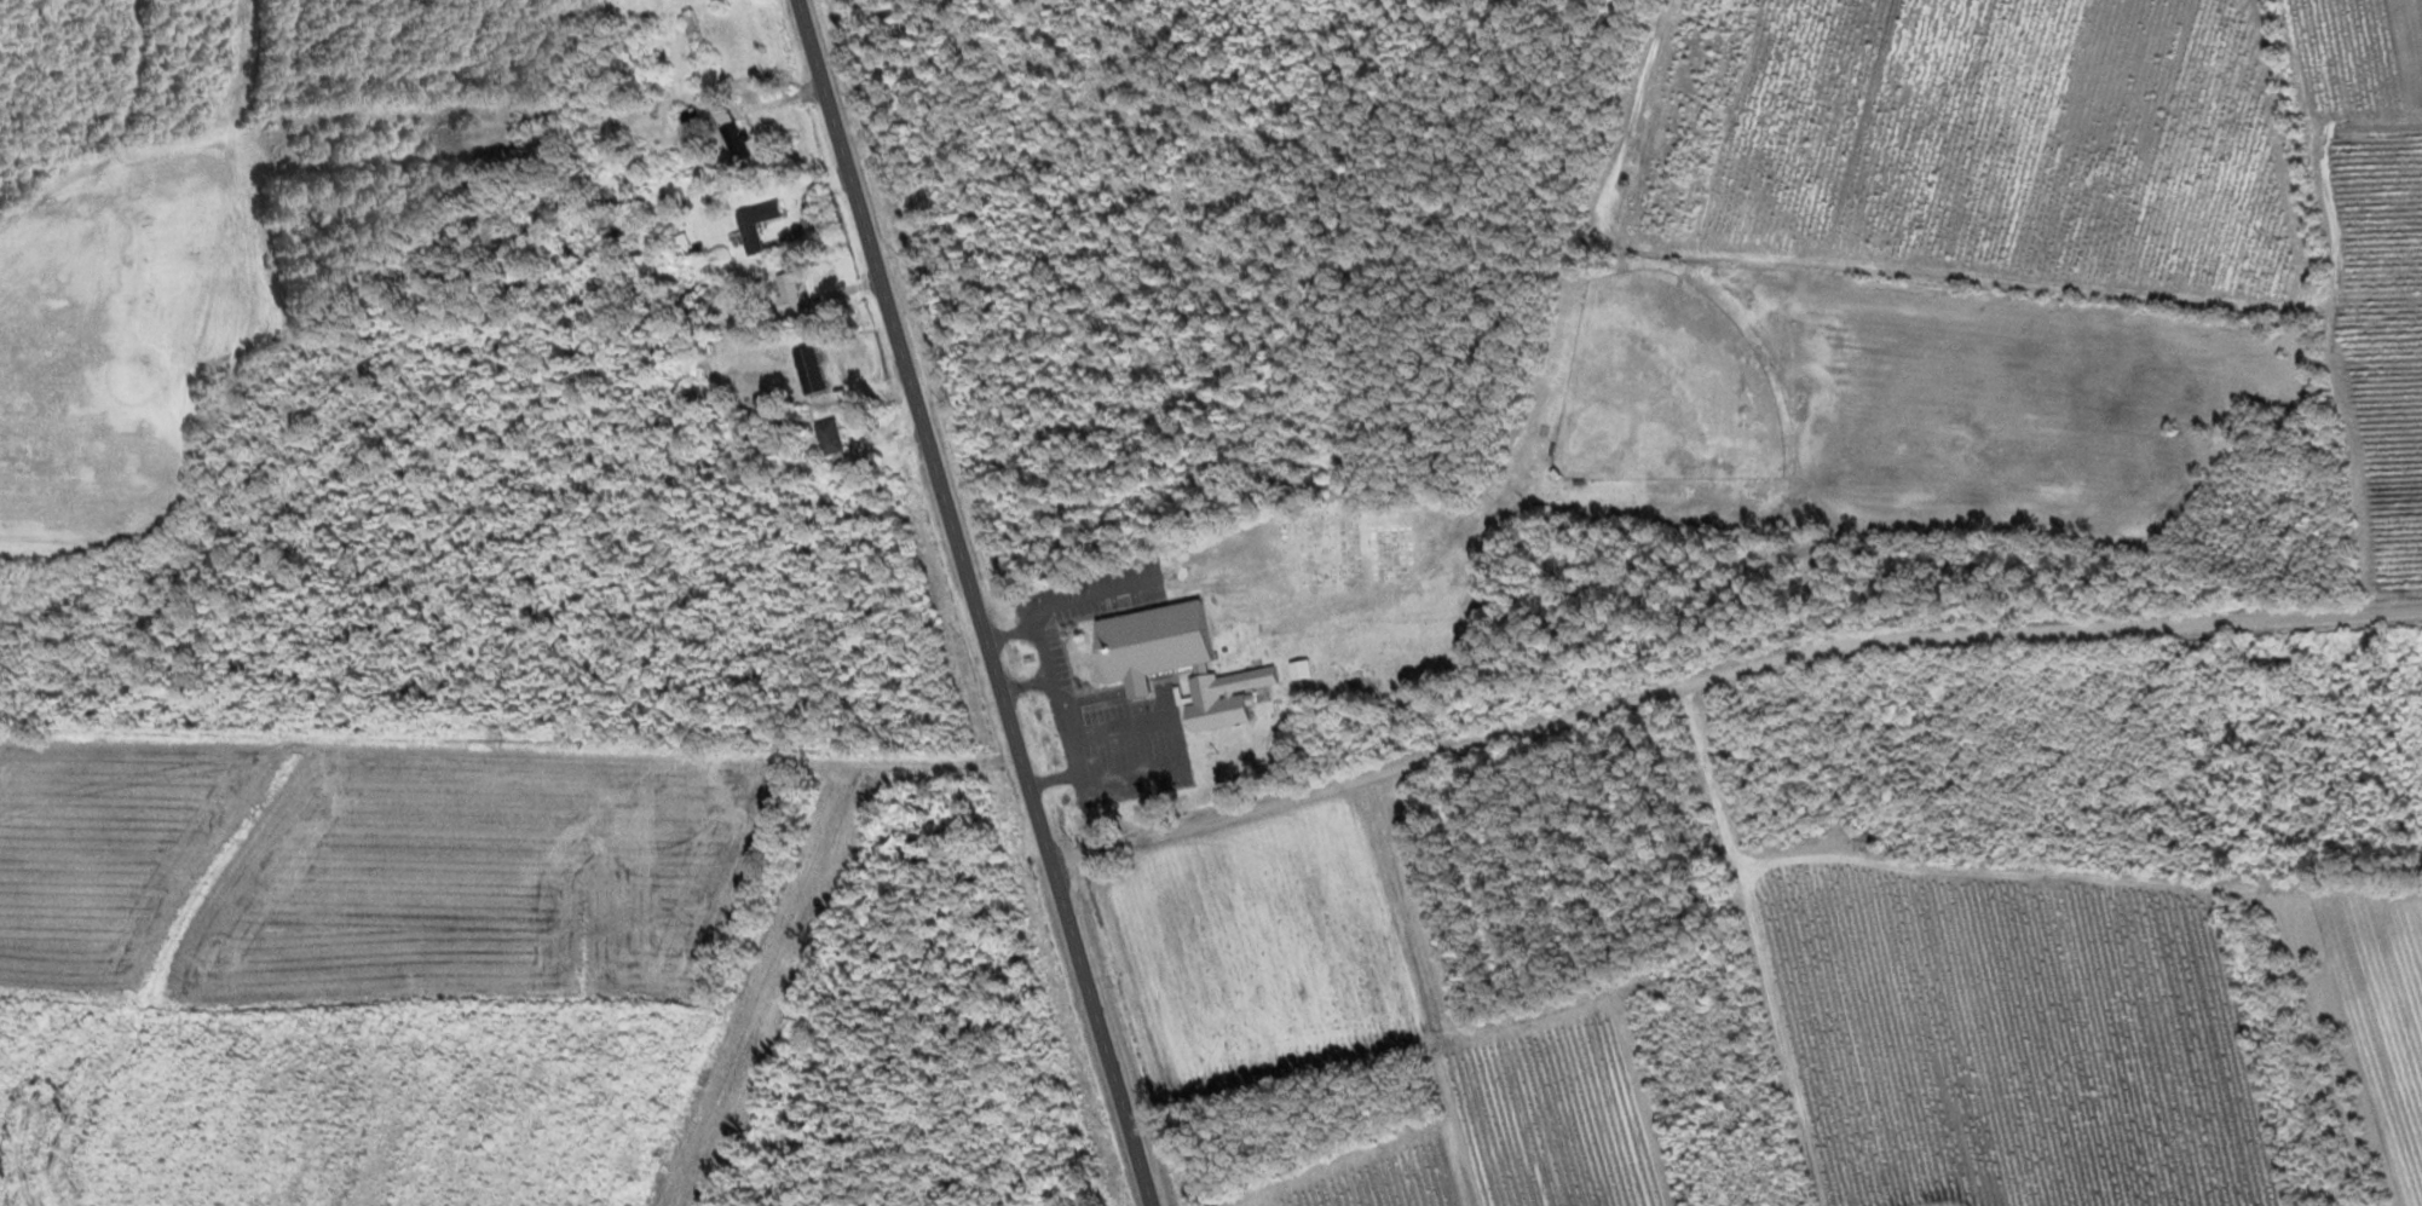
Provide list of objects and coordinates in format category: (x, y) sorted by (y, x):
building: (690, 34)
building: (694, 120)
building: (584, 127)
building: (731, 134)
building: (746, 229)
building: (783, 294)
building: (807, 370)
building: (826, 438)
building: (1538, 512)
road: (976, 602)
building: (1171, 663)
building: (1298, 670)
road: (1728, 680)
building: (1863, 841)

